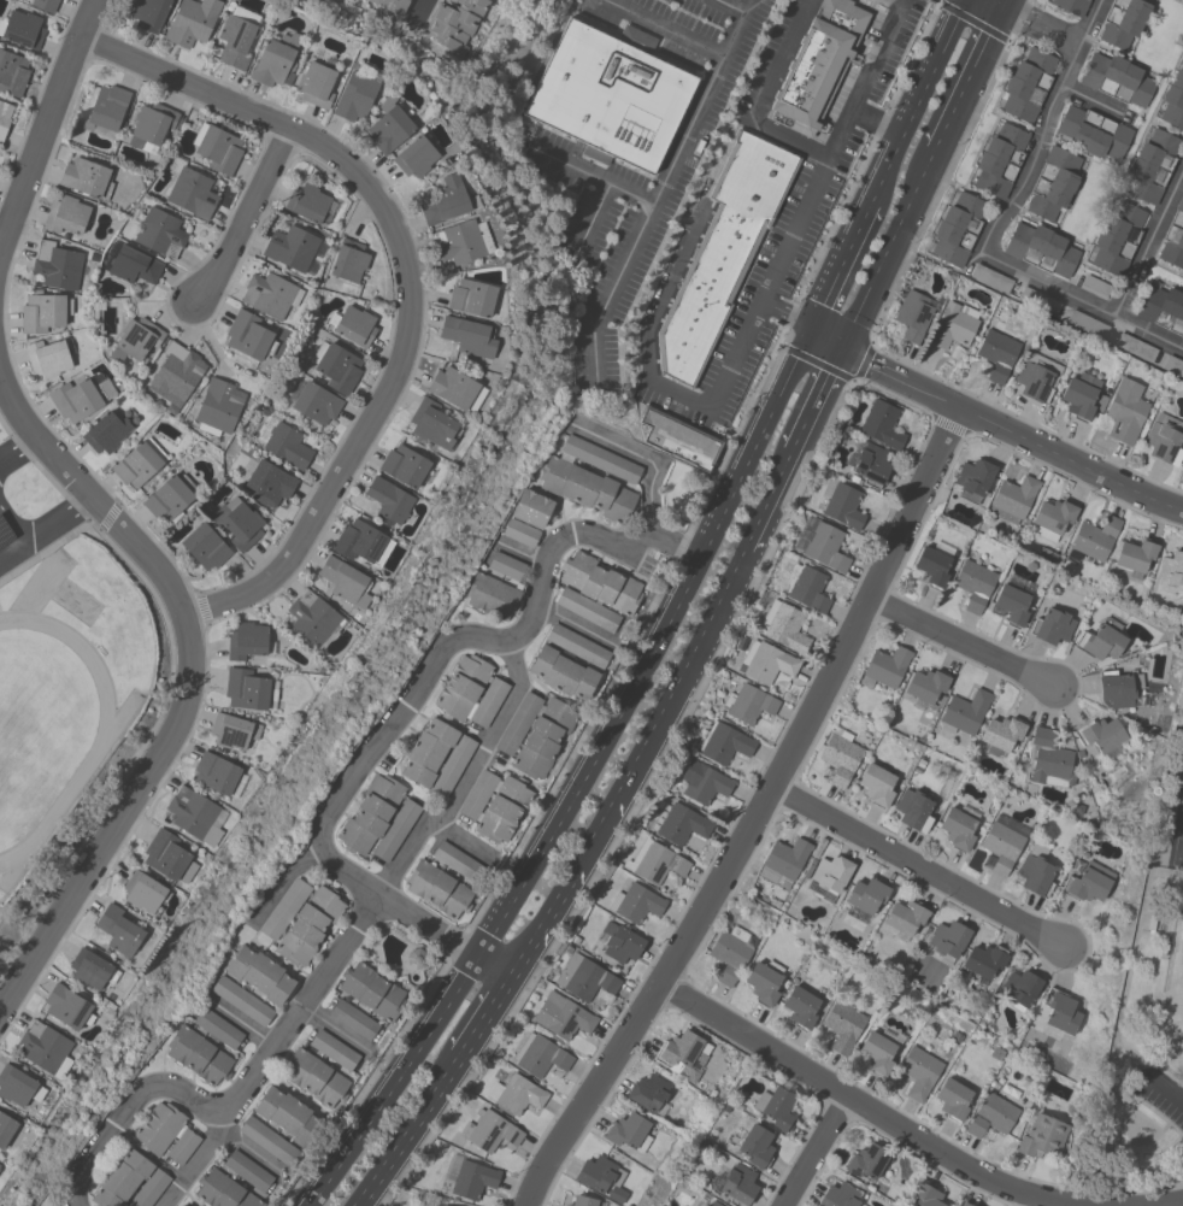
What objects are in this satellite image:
park: (1181, 0)
road: (1006, 1)
building: (45, 4)
traffic signals: (1006, 4)
building: (394, 5)
building: (1070, 5)
road: (731, 6)
building: (148, 13)
road: (419, 17)
road: (1038, 20)
road: (1090, 20)
building: (190, 22)
building: (1123, 22)
building: (453, 23)
building: (22, 28)
road: (664, 28)
building: (236, 36)
parking lot: (767, 58)
building: (277, 60)
road: (1071, 63)
building: (817, 65)
building: (12, 72)
road: (972, 75)
building: (1117, 78)
building: (316, 83)
building: (1028, 84)
building: (355, 94)
building: (610, 94)
road: (765, 95)
road: (1097, 101)
building: (1173, 101)
road: (916, 104)
building: (106, 110)
building: (4, 117)
road: (878, 120)
road: (47, 123)
building: (152, 125)
building: (389, 129)
building: (1094, 133)
building: (217, 147)
building: (416, 157)
building: (1000, 160)
building: (1152, 165)
road: (593, 172)
road: (822, 173)
building: (86, 177)
building: (1053, 183)
road: (660, 188)
building: (188, 189)
building: (447, 200)
building: (308, 202)
building: (67, 216)
road: (594, 216)
road: (245, 220)
road: (859, 224)
parking lot: (794, 227)
building: (957, 229)
building: (160, 231)
building: (1173, 237)
building: (1117, 239)
building: (461, 241)
road: (1149, 243)
road: (891, 245)
building: (293, 248)
building: (1041, 248)
building: (722, 252)
road: (996, 259)
building: (348, 261)
building: (130, 263)
building: (57, 265)
building: (990, 278)
road: (406, 280)
road: (830, 283)
building: (1095, 286)
building: (270, 294)
building: (471, 296)
building: (104, 298)
building: (1038, 300)
building: (1163, 308)
building: (43, 311)
building: (914, 314)
building: (1085, 324)
building: (353, 325)
traffic signals: (810, 325)
building: (954, 325)
building: (249, 336)
building: (467, 336)
building: (135, 340)
traffic signals: (847, 345)
building: (1135, 347)
building: (997, 353)
building: (49, 357)
building: (1173, 365)
building: (336, 366)
building: (176, 373)
building: (1037, 376)
road: (651, 378)
building: (457, 390)
building: (1083, 395)
building: (81, 396)
road: (820, 396)
building: (313, 401)
building: (218, 406)
building: (1125, 411)
building: (432, 424)
building: (882, 424)
road: (990, 426)
building: (106, 433)
building: (678, 439)
building: (1164, 439)
building: (283, 442)
road: (17, 447)
road: (643, 460)
building: (139, 463)
building: (869, 463)
building: (405, 466)
building: (591, 478)
building: (854, 480)
building: (973, 480)
building: (266, 482)
road: (89, 496)
building: (170, 498)
building: (1013, 498)
building: (389, 500)
road: (769, 501)
building: (840, 504)
building: (531, 507)
building: (1052, 518)
road: (1, 519)
building: (237, 523)
road: (45, 531)
building: (522, 531)
building: (1091, 541)
building: (361, 542)
parking lot: (4, 543)
building: (819, 543)
building: (205, 546)
road: (18, 549)
building: (1135, 555)
building: (934, 564)
building: (506, 565)
building: (1170, 573)
building: (345, 581)
building: (600, 582)
building: (973, 583)
building: (807, 587)
building: (492, 595)
building: (1012, 599)
building: (587, 608)
building: (314, 618)
road: (572, 625)
building: (784, 625)
building: (1052, 625)
building: (247, 640)
building: (1101, 640)
road: (960, 643)
building: (577, 645)
road: (455, 646)
road: (655, 647)
building: (766, 661)
building: (884, 667)
building: (563, 673)
road: (681, 681)
building: (248, 688)
building: (925, 688)
building: (1120, 689)
building: (470, 692)
building: (748, 704)
building: (964, 711)
building: (518, 723)
track: (43, 730)
building: (233, 730)
building: (1001, 734)
building: (1101, 735)
building: (543, 739)
building: (723, 742)
building: (428, 751)
building: (840, 758)
building: (1050, 759)
building: (452, 765)
building: (218, 773)
road: (467, 778)
building: (701, 782)
building: (877, 784)
building: (477, 794)
building: (502, 808)
building: (913, 810)
building: (370, 813)
building: (196, 814)
road: (755, 816)
road: (119, 822)
building: (677, 822)
building: (959, 826)
building: (395, 830)
road: (463, 843)
building: (1002, 843)
park: (1179, 843)
building: (169, 857)
building: (783, 859)
building: (455, 860)
building: (655, 861)
building: (1073, 867)
road: (919, 869)
building: (1035, 870)
building: (830, 876)
building: (1088, 882)
road: (287, 883)
building: (437, 888)
building: (145, 892)
road: (564, 892)
building: (865, 898)
building: (635, 902)
building: (284, 908)
building: (905, 918)
building: (308, 925)
building: (122, 933)
building: (948, 940)
building: (618, 942)
building: (731, 953)
building: (416, 957)
park: (1182, 957)
building: (982, 963)
road: (496, 966)
building: (92, 969)
building: (260, 973)
building: (583, 977)
building: (764, 981)
road: (1126, 984)
building: (1020, 987)
building: (372, 990)
building: (241, 1000)
building: (800, 1007)
building: (67, 1008)
road: (488, 1013)
building: (1059, 1013)
building: (561, 1016)
building: (353, 1019)
road: (240, 1023)
building: (842, 1025)
road: (336, 1033)
building: (205, 1046)
building: (46, 1048)
road: (273, 1048)
building: (879, 1049)
park: (1148, 1049)
building: (538, 1054)
building: (683, 1054)
building: (320, 1069)
building: (920, 1070)
road: (395, 1083)
building: (18, 1086)
building: (648, 1093)
road: (1164, 1093)
building: (516, 1094)
parking lot: (1159, 1095)
building: (953, 1098)
road: (1136, 1100)
road: (855, 1102)
road: (1131, 1105)
building: (775, 1107)
building: (991, 1114)
building: (288, 1116)
building: (6, 1128)
building: (158, 1128)
road: (408, 1129)
road: (1166, 1129)
building: (490, 1130)
building: (628, 1131)
building: (1041, 1137)
building: (270, 1141)
building: (755, 1145)
road: (1176, 1145)
building: (183, 1146)
road: (816, 1152)
road: (249, 1153)
building: (866, 1160)
road: (200, 1161)
building: (247, 1170)
building: (469, 1177)
building: (601, 1177)
building: (129, 1182)
building: (738, 1184)
building: (223, 1190)
building: (840, 1195)
building: (926, 1195)
building: (584, 1201)
building: (713, 1202)
building: (964, 1204)
building: (183, 1205)
building: (437, 1205)
building: (700, 1205)

